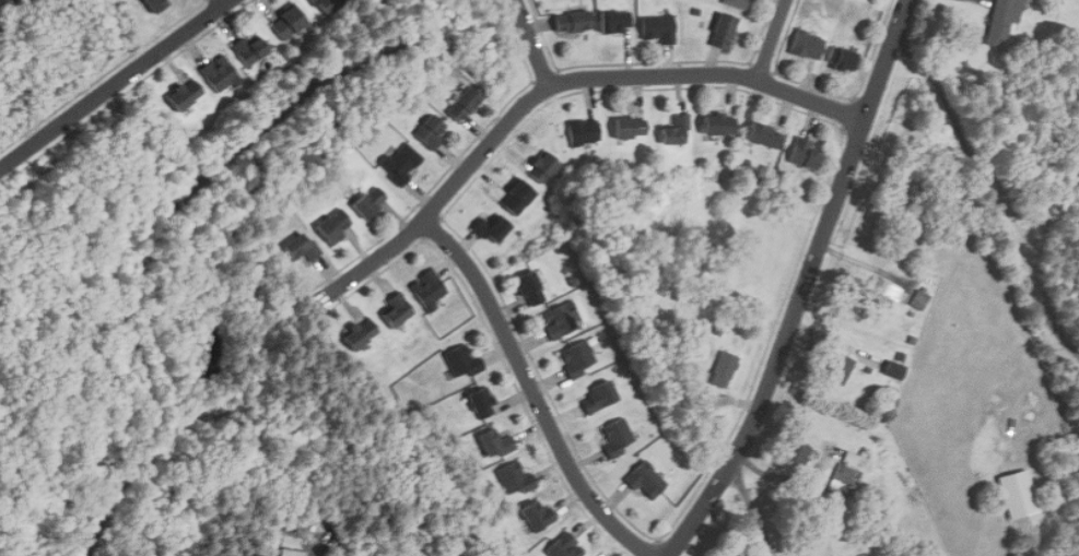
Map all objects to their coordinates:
building: (0, 1)
building: (736, 3)
building: (160, 4)
building: (325, 5)
building: (288, 22)
building: (615, 22)
building: (1000, 22)
building: (572, 23)
building: (658, 27)
building: (722, 32)
road: (772, 39)
road: (532, 43)
building: (807, 45)
building: (258, 51)
building: (843, 61)
building: (220, 74)
road: (554, 83)
road: (115, 84)
building: (181, 94)
building: (461, 105)
building: (718, 125)
building: (630, 128)
building: (431, 131)
building: (677, 131)
building: (583, 132)
building: (763, 137)
building: (802, 154)
building: (402, 162)
building: (542, 167)
road: (993, 193)
building: (517, 198)
building: (368, 201)
building: (330, 223)
building: (491, 228)
building: (301, 248)
road: (791, 286)
road: (807, 286)
building: (429, 288)
building: (530, 288)
building: (882, 292)
building: (920, 300)
building: (396, 310)
building: (561, 320)
building: (359, 334)
building: (578, 358)
building: (464, 360)
building: (726, 365)
building: (838, 368)
building: (894, 369)
road: (533, 391)
building: (598, 398)
building: (481, 403)
building: (618, 437)
building: (494, 443)
building: (797, 453)
building: (849, 458)
building: (515, 477)
building: (843, 477)
building: (645, 480)
building: (1017, 492)
road: (753, 507)
building: (538, 517)
building: (564, 547)
building: (291, 552)

